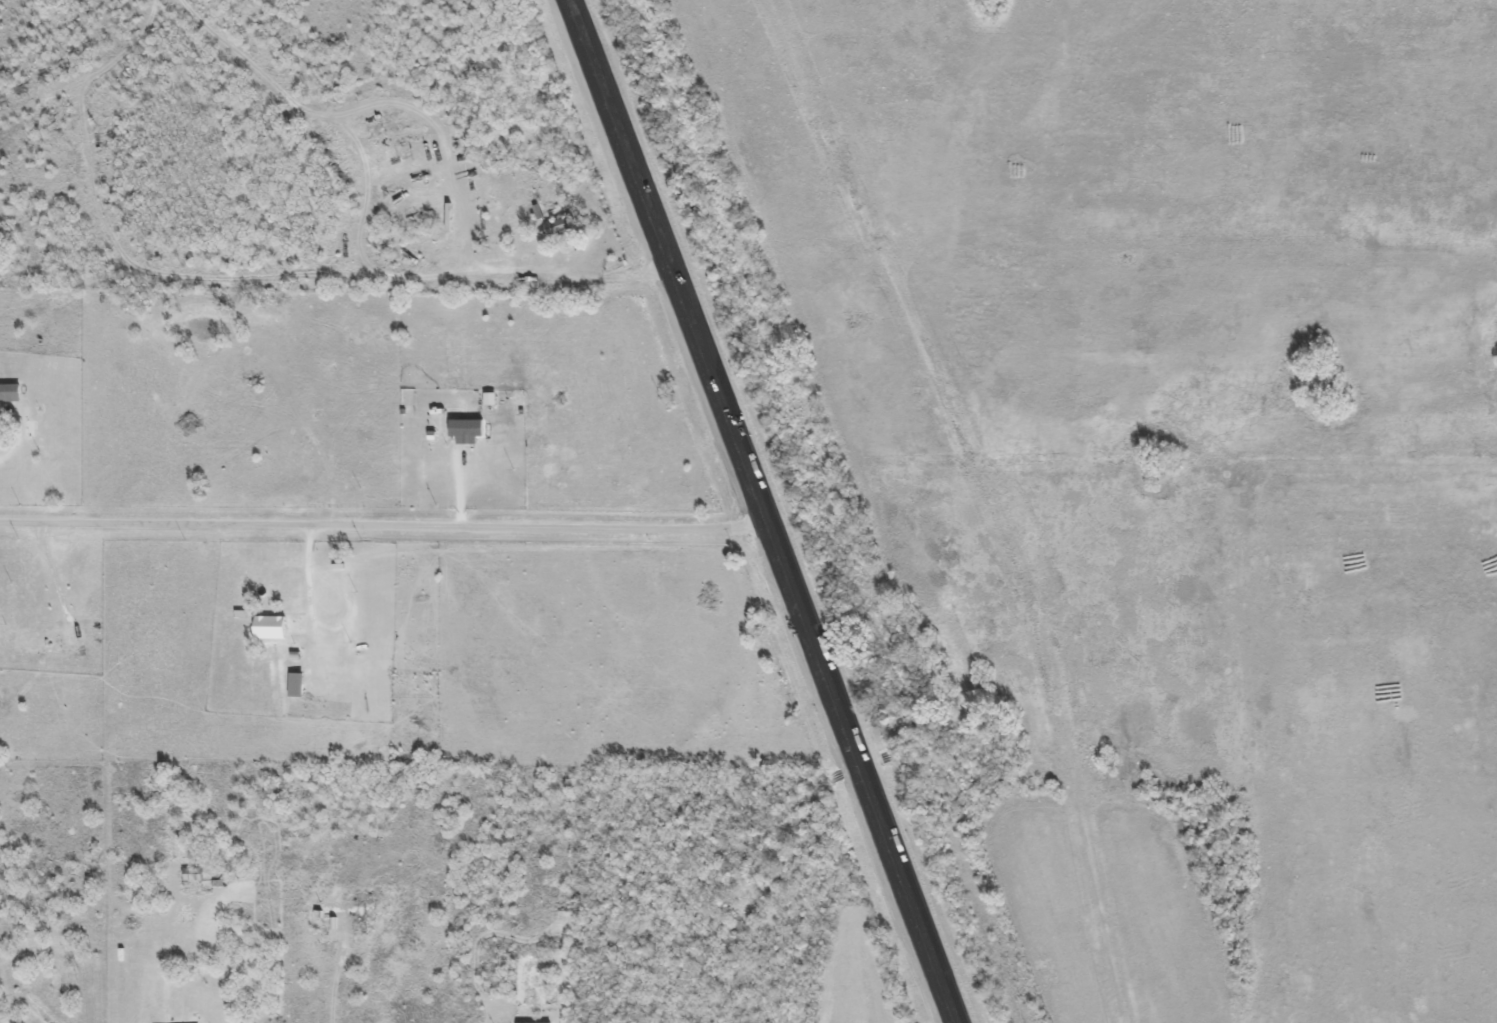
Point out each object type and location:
building: (557, 225)
building: (9, 392)
building: (455, 425)
road: (766, 511)
road: (386, 523)
building: (276, 623)
building: (295, 684)

